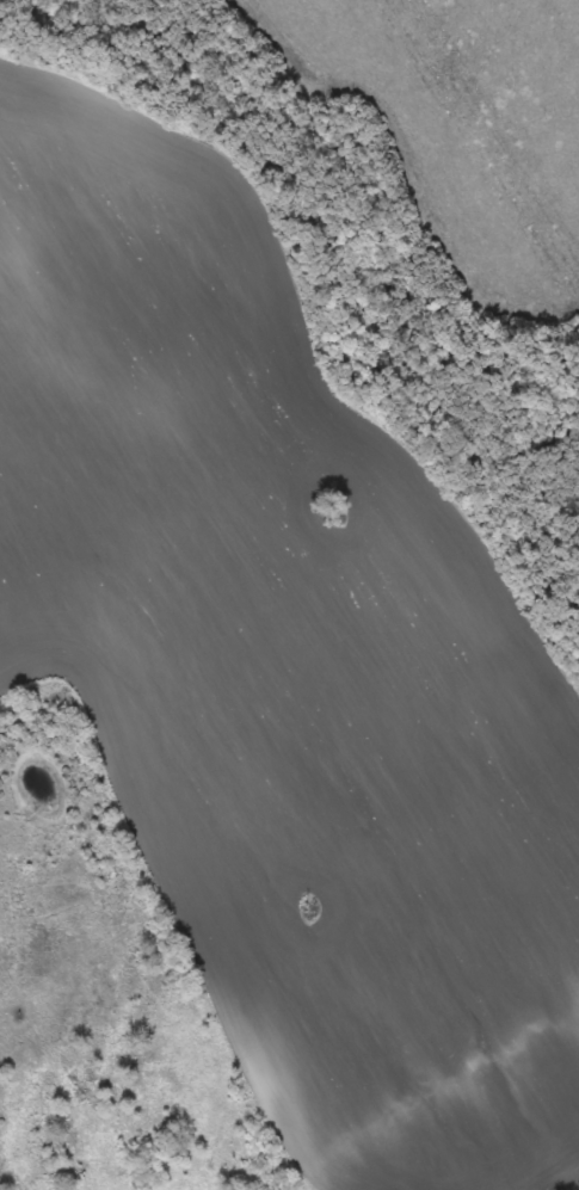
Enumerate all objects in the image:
road: (437, 1095)

